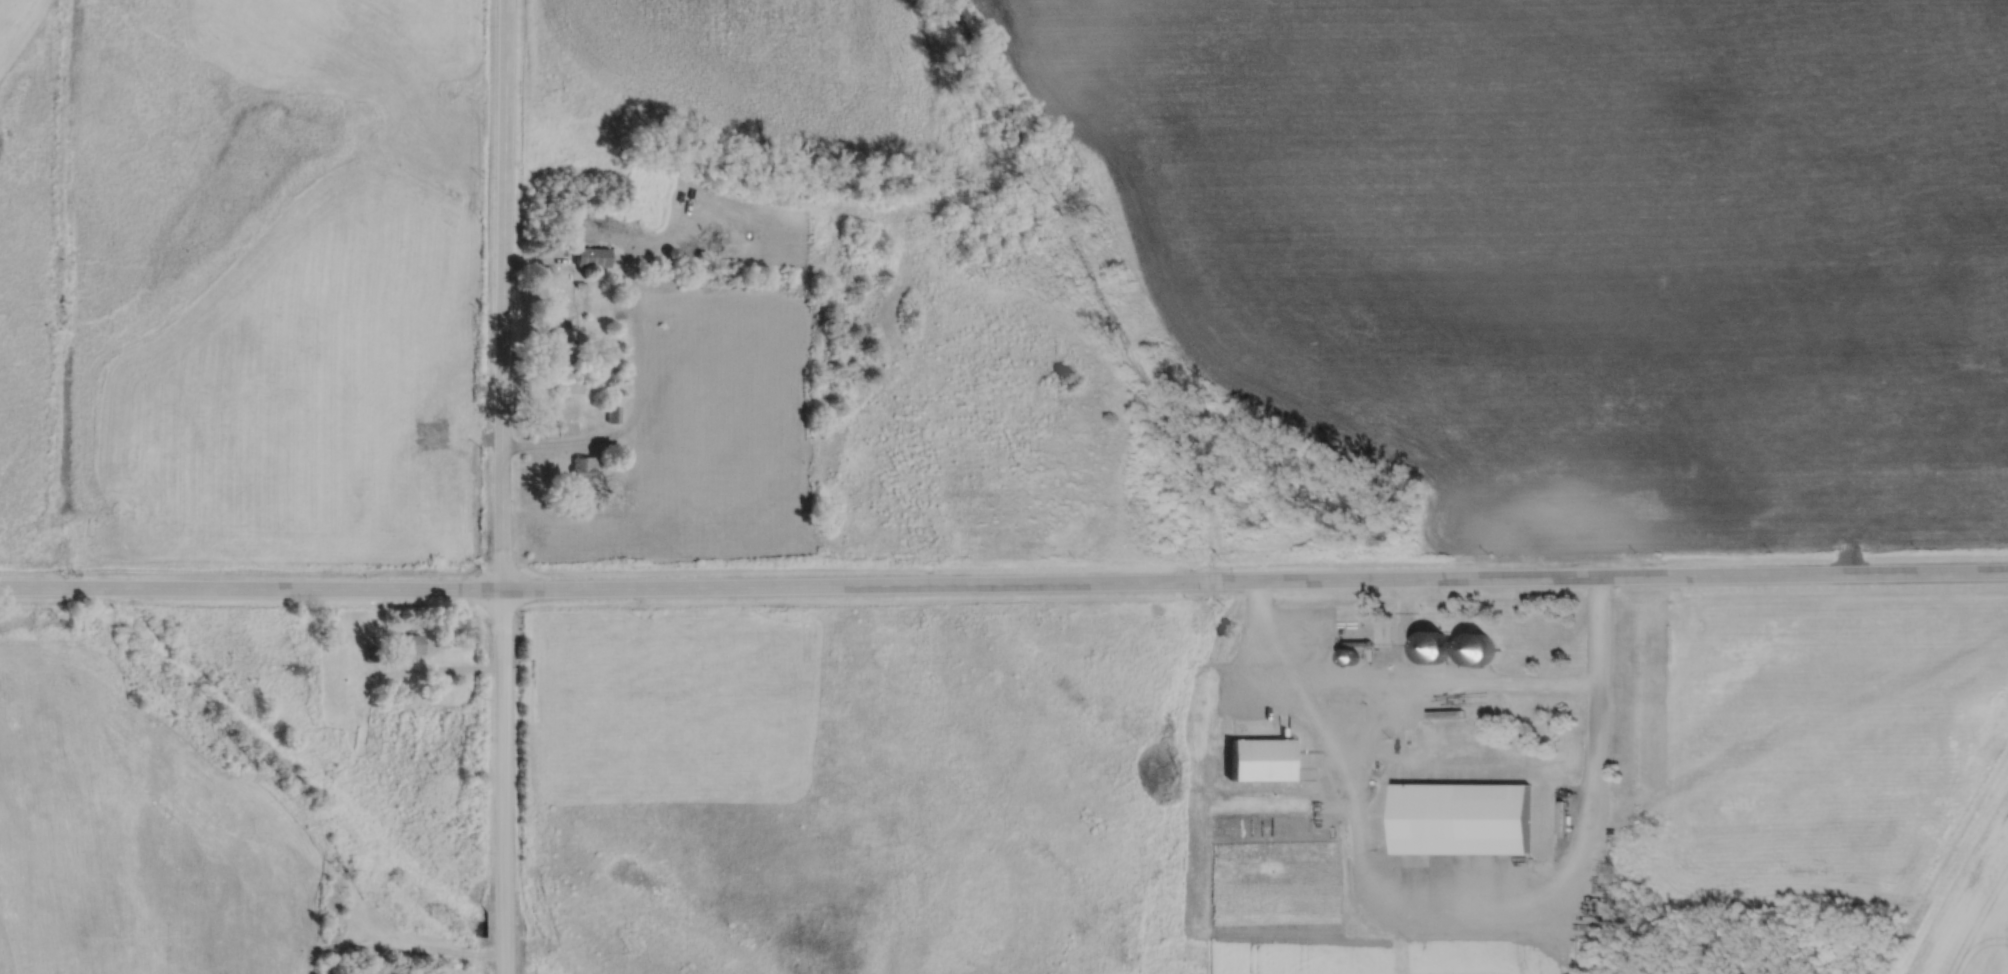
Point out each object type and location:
building: (672, 253)
building: (592, 257)
building: (580, 284)
road: (504, 294)
building: (557, 341)
building: (566, 388)
building: (614, 413)
road: (561, 446)
building: (584, 465)
road: (1004, 582)
building: (1365, 636)
building: (408, 643)
building: (1433, 645)
building: (1477, 647)
building: (371, 654)
building: (1349, 655)
road: (438, 668)
road: (1394, 680)
road: (1451, 681)
building: (1499, 693)
building: (1259, 759)
road: (503, 781)
building: (1558, 816)
building: (1462, 819)
building: (1567, 819)
building: (347, 868)
road: (1460, 908)
crop: (1972, 911)
building: (359, 951)
crop: (1384, 955)

